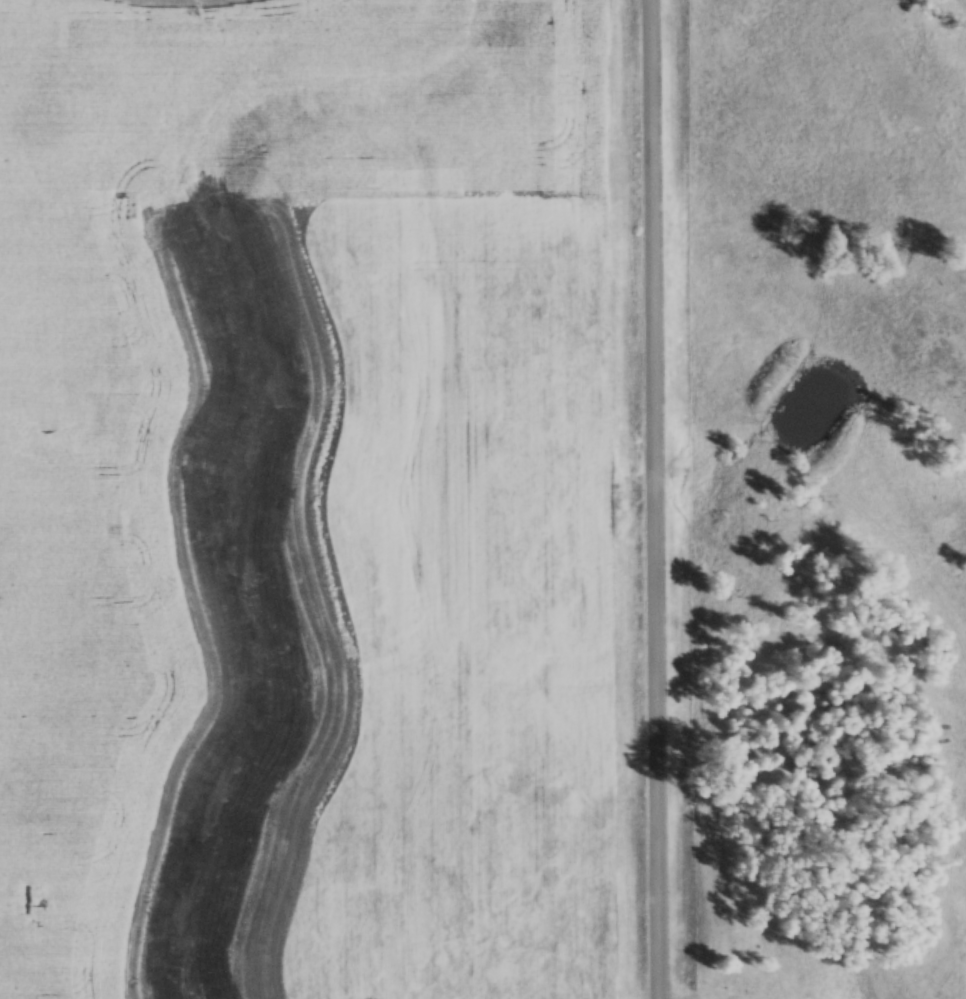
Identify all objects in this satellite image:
road: (652, 499)

